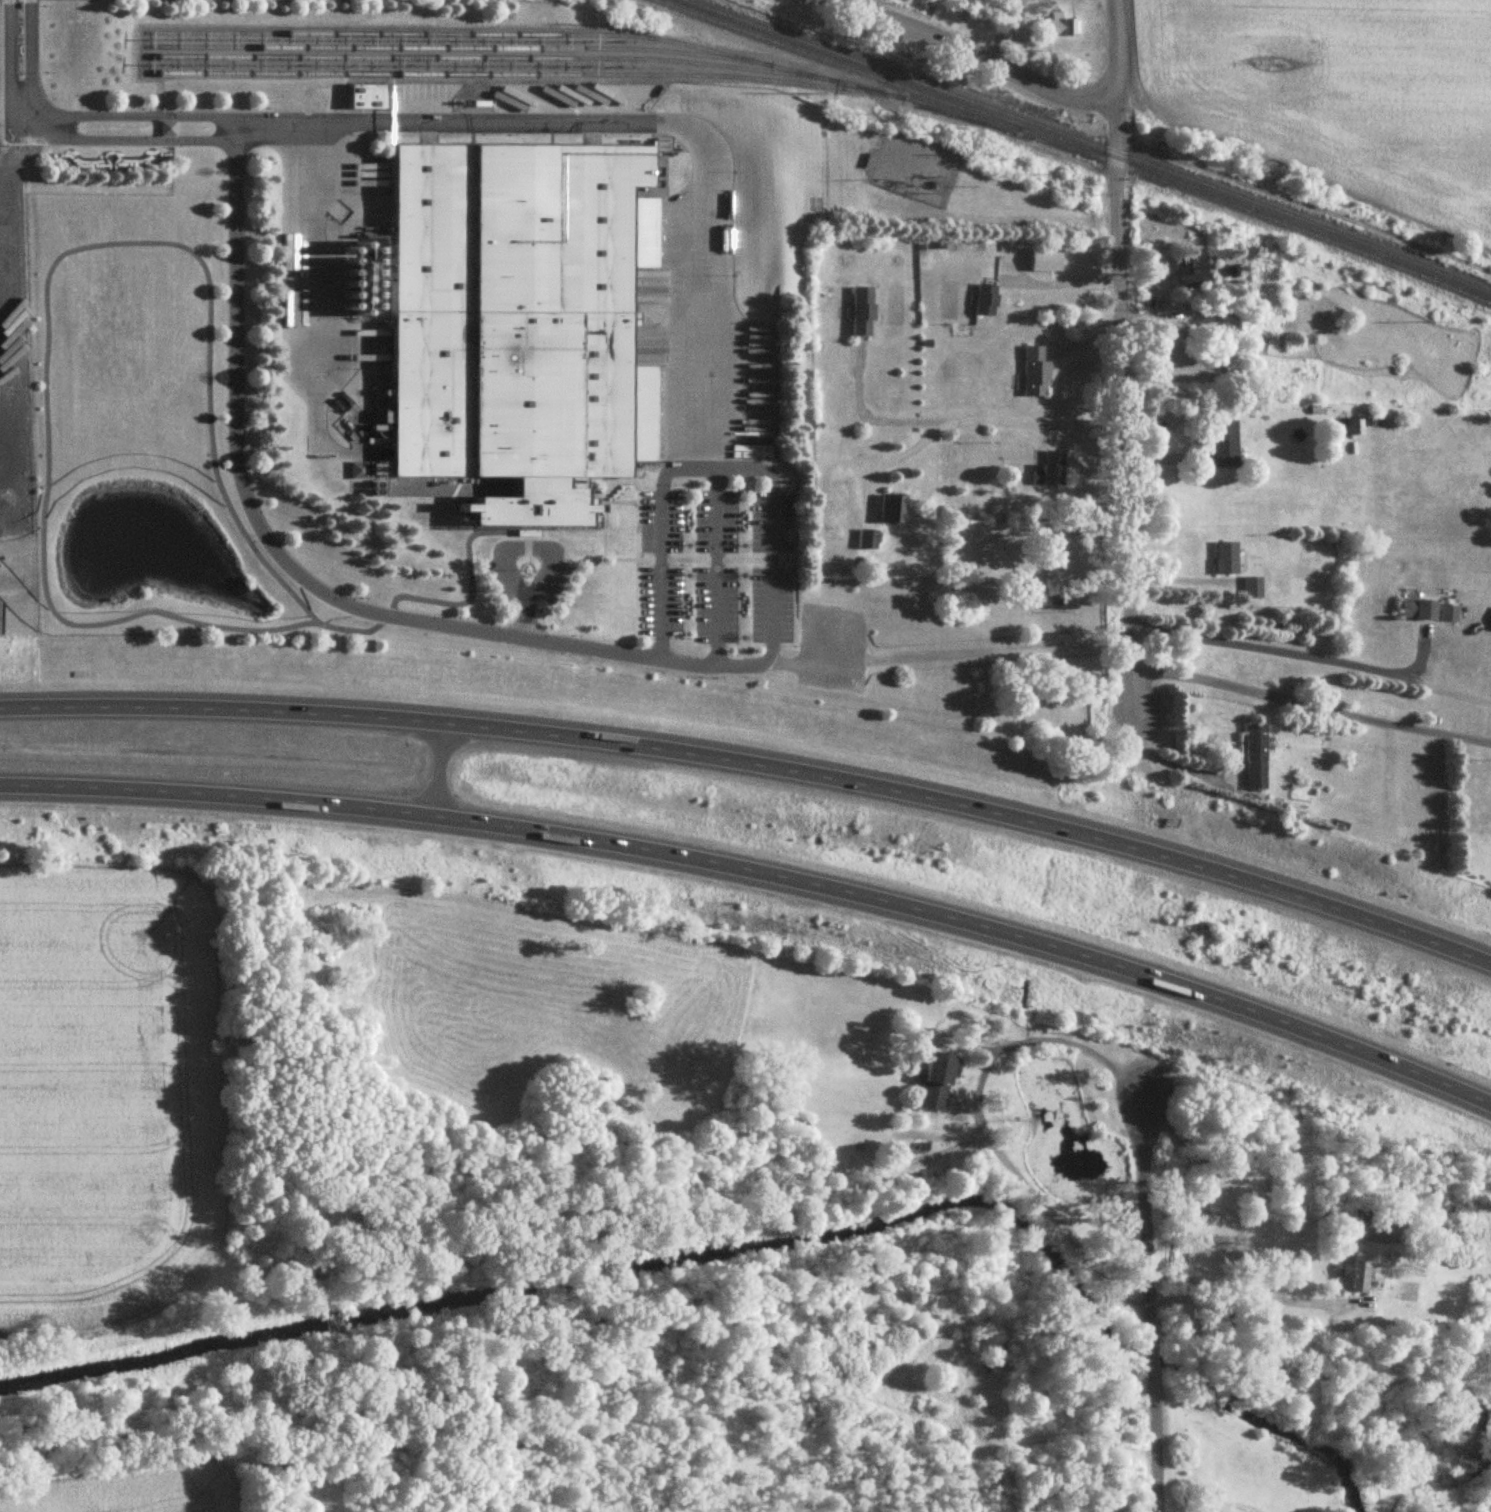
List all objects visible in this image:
building: (1057, 27)
railway: (573, 36)
railway: (448, 49)
road: (961, 55)
railway: (482, 59)
railway: (518, 76)
road: (643, 86)
building: (367, 98)
road: (79, 118)
road: (454, 122)
building: (167, 130)
road: (62, 140)
railway: (1088, 143)
railway: (1071, 149)
road: (924, 163)
power substation: (913, 170)
road: (394, 184)
road: (912, 208)
road: (999, 221)
building: (1193, 274)
road: (706, 277)
road: (1062, 285)
building: (1247, 291)
building: (986, 302)
building: (863, 313)
building: (513, 314)
road: (315, 321)
road: (1118, 357)
building: (1035, 373)
road: (958, 419)
building: (1345, 428)
building: (1224, 445)
road: (745, 459)
road: (889, 460)
building: (358, 471)
building: (1050, 471)
road: (768, 478)
building: (535, 510)
building: (893, 510)
road: (265, 539)
building: (867, 540)
road: (544, 551)
building: (1227, 560)
parking lot: (716, 568)
road: (716, 569)
parking lot: (499, 582)
parking lot: (553, 582)
building: (1253, 590)
building: (1050, 598)
building: (1418, 612)
building: (1448, 615)
road: (1309, 659)
road: (1311, 706)
building: (1256, 759)
road: (757, 761)
road: (432, 762)
road: (1172, 763)
road: (761, 868)
building: (937, 1083)
road: (968, 1103)
road: (1141, 1216)
building: (1386, 1232)
building: (1352, 1272)
road: (1247, 1296)
building: (998, 1356)
road: (1146, 1360)
road: (1149, 1448)

